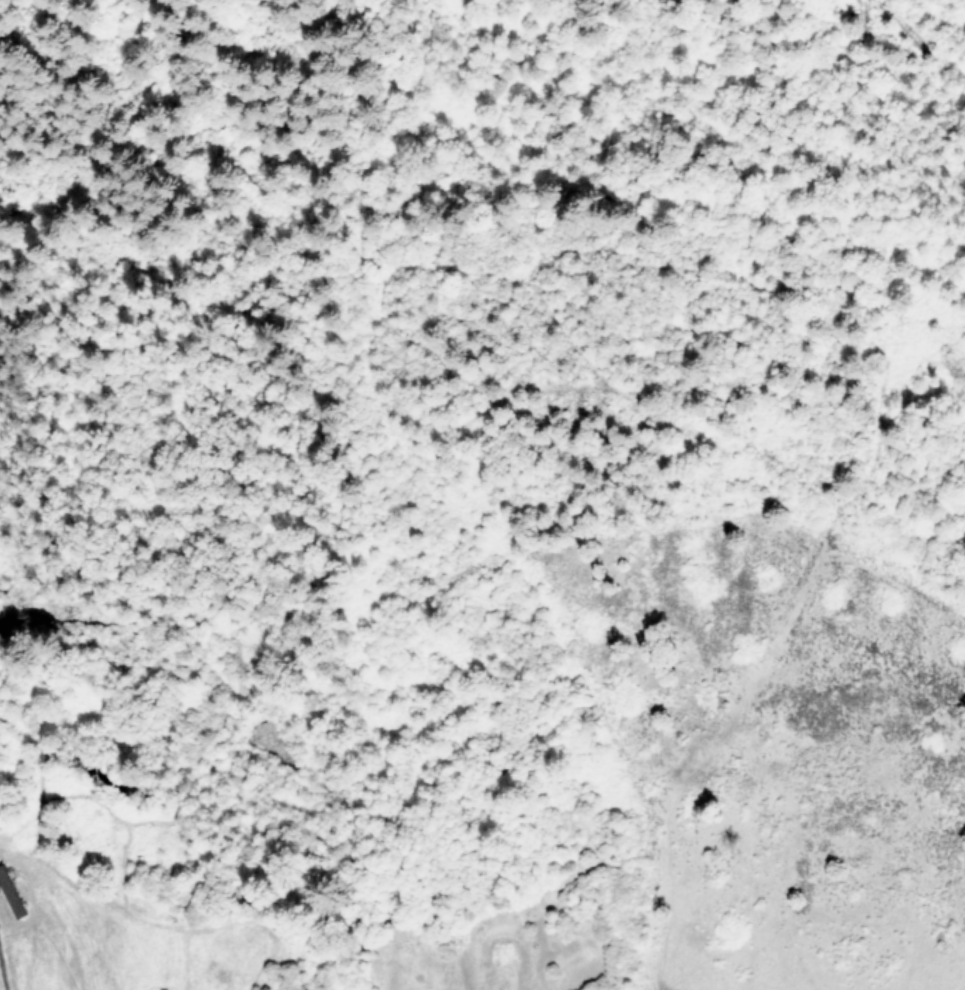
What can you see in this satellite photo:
road: (3, 975)

